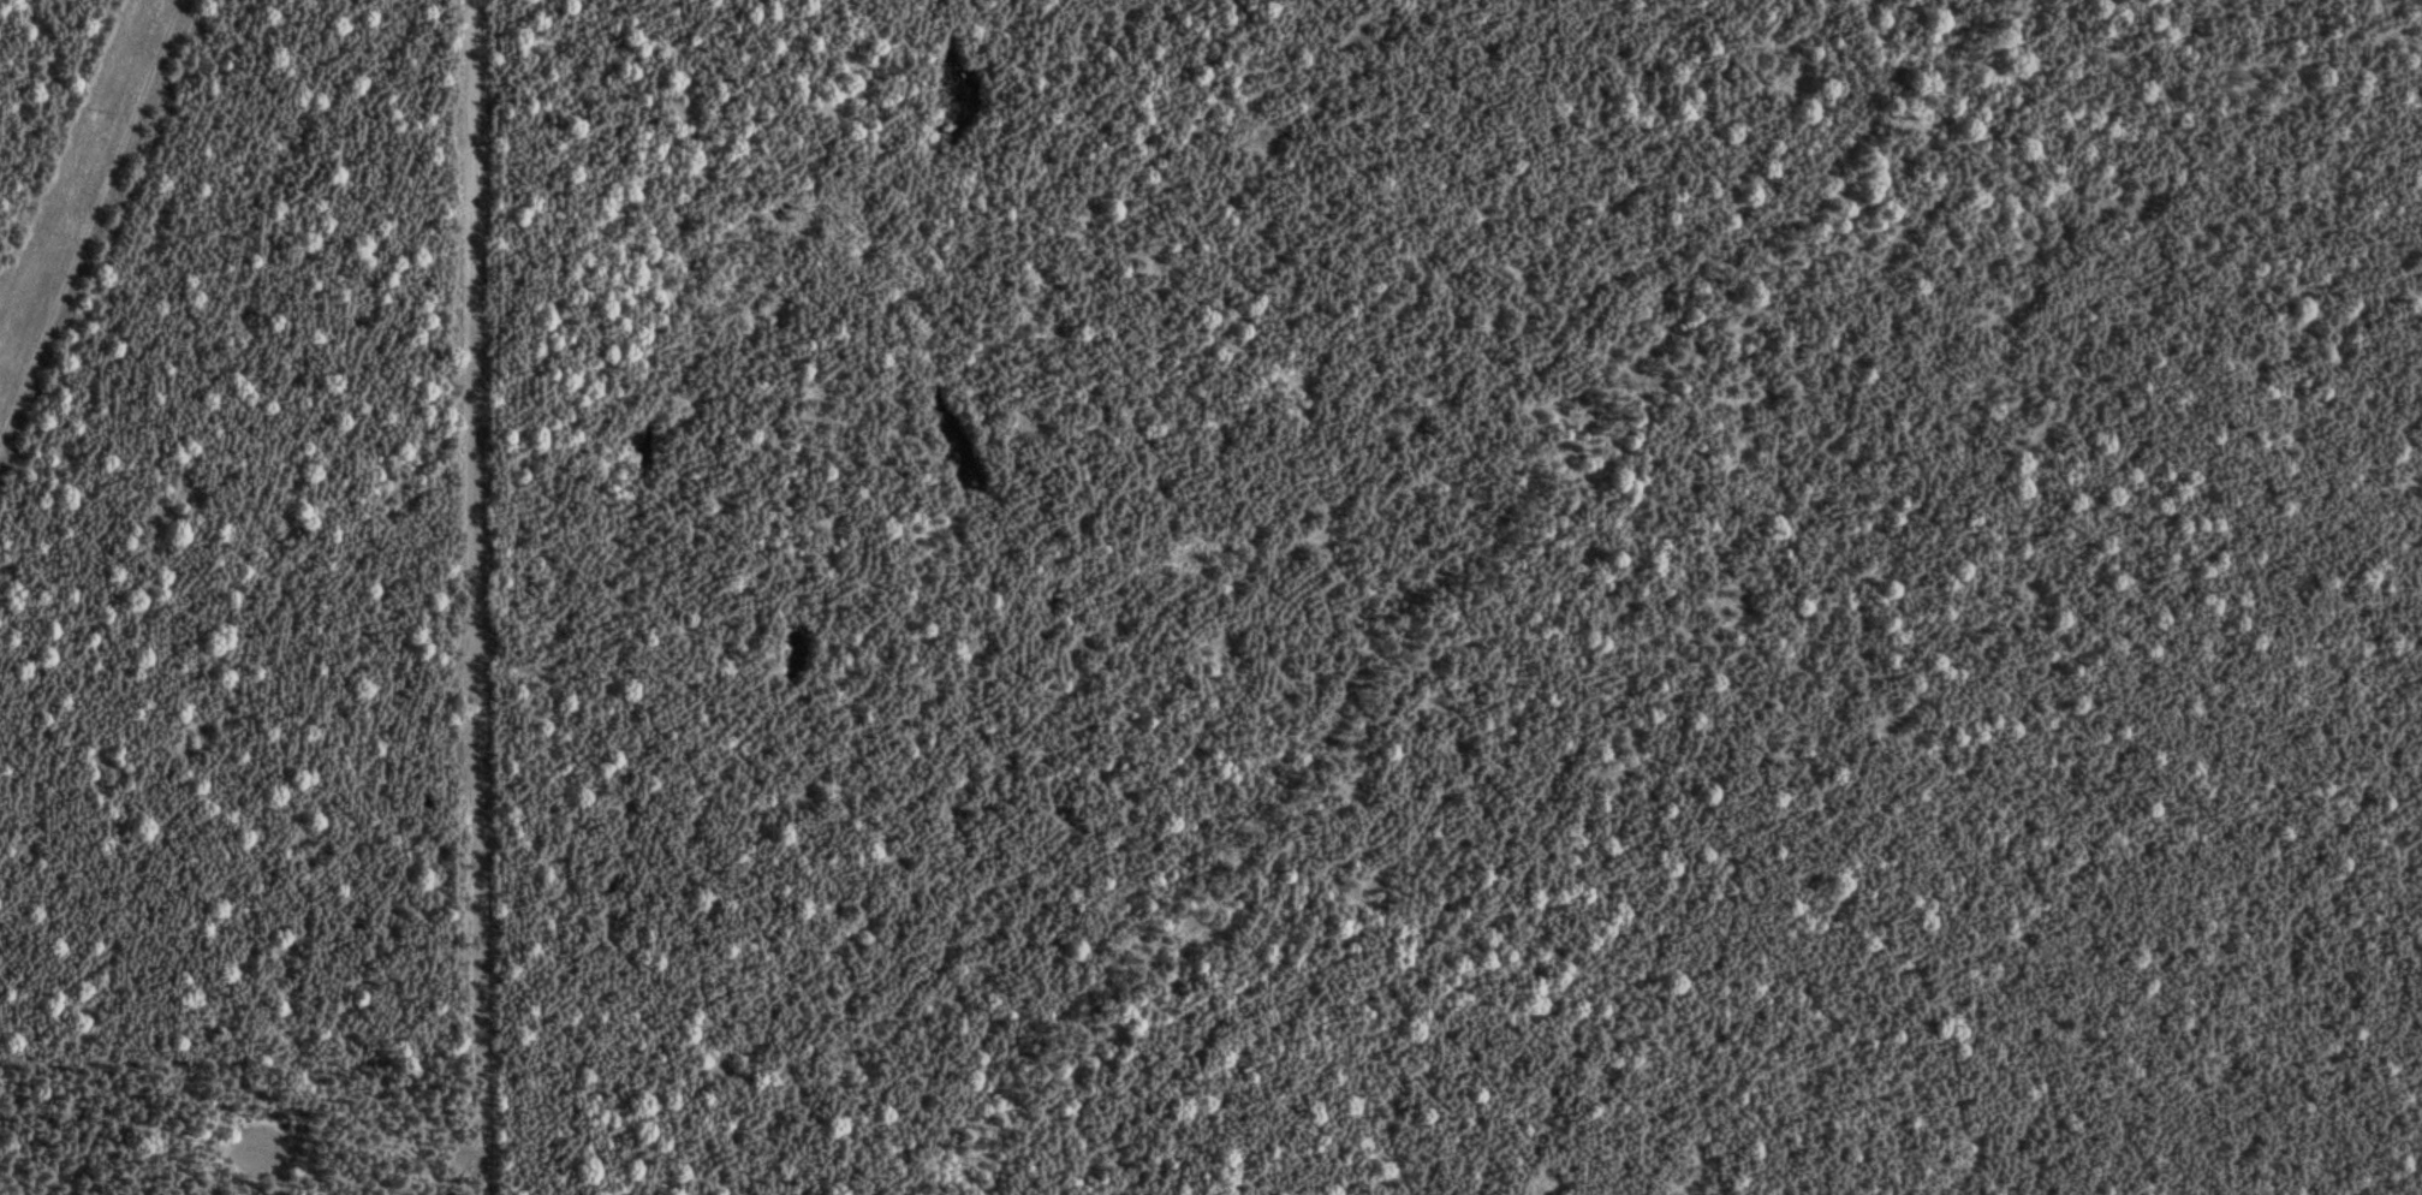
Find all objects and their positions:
road: (88, 224)
road: (480, 597)

